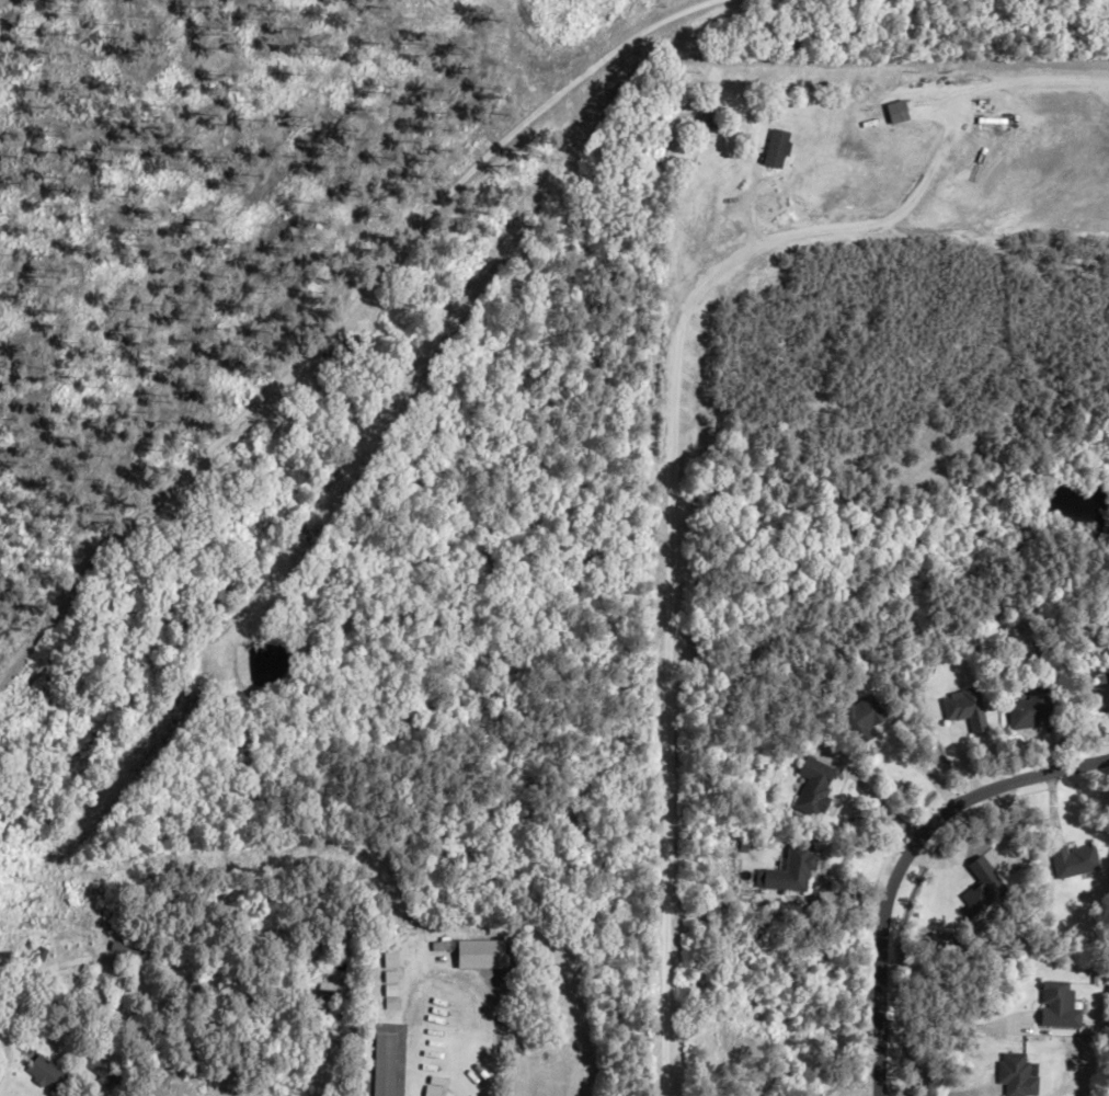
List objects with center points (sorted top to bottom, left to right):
building: (883, 116)
building: (714, 122)
road: (340, 319)
road: (666, 520)
building: (1099, 696)
building: (961, 709)
building: (1029, 709)
building: (861, 716)
building: (811, 787)
road: (876, 803)
building: (1073, 860)
road: (904, 863)
building: (788, 869)
building: (334, 941)
building: (441, 945)
building: (50, 958)
building: (389, 960)
building: (389, 977)
building: (390, 991)
building: (322, 992)
building: (1056, 1005)
road: (949, 1026)
building: (381, 1064)
building: (44, 1073)
building: (1015, 1075)
building: (102, 1076)
building: (433, 1086)

